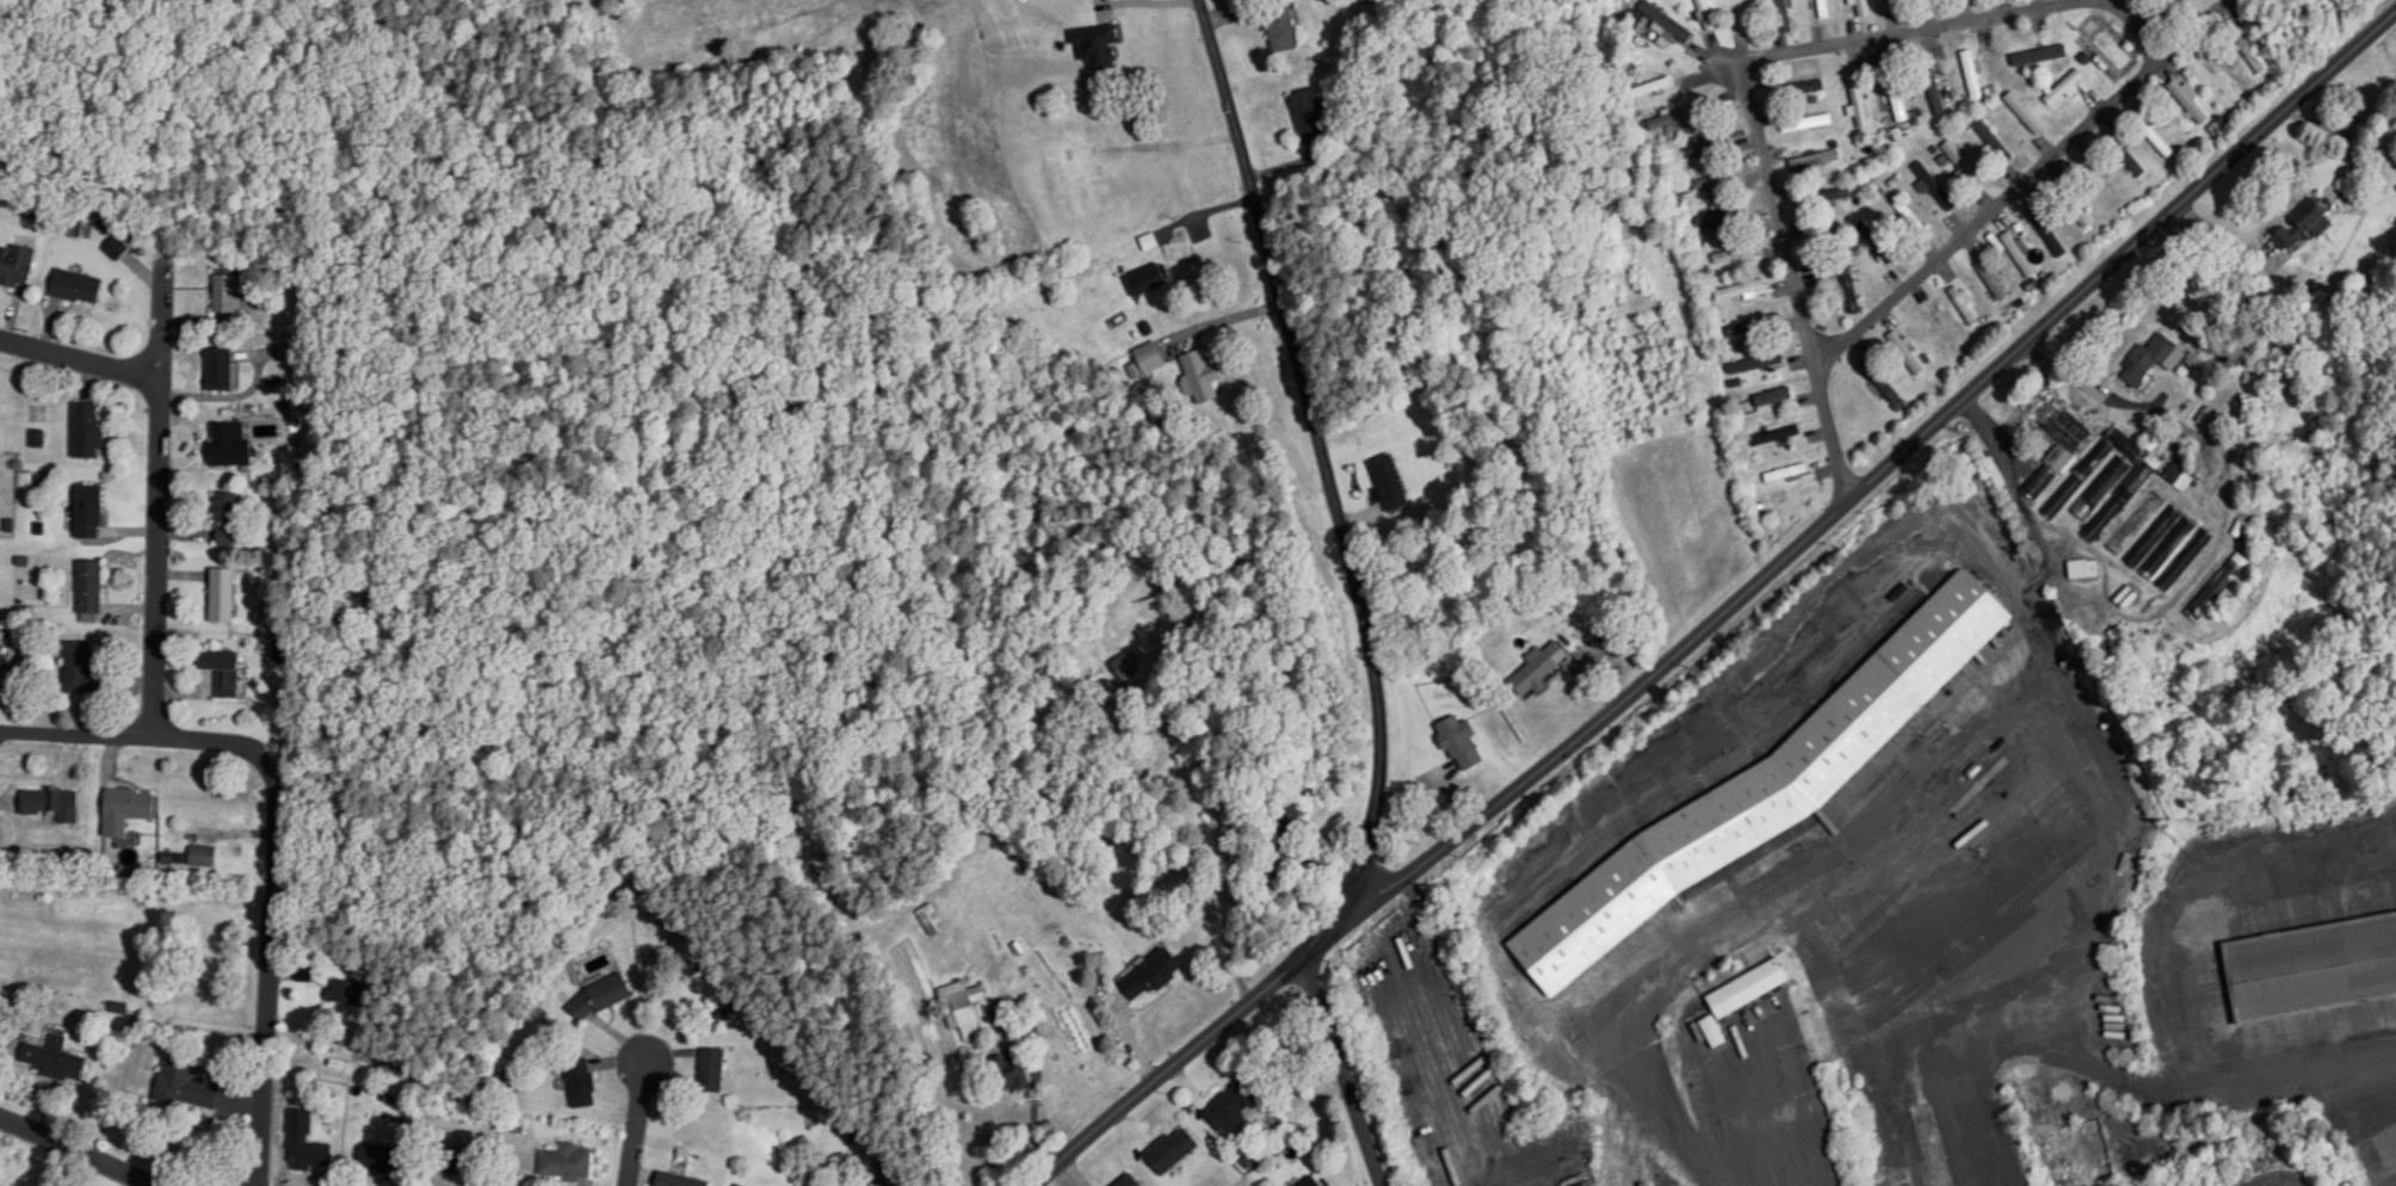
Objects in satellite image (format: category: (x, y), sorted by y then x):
building: (1935, 1)
building: (1823, 6)
building: (1863, 8)
building: (1706, 14)
building: (1786, 16)
building: (1669, 24)
building: (1280, 25)
road: (2135, 25)
road: (1895, 33)
building: (1097, 47)
building: (2040, 55)
building: (1972, 74)
building: (1933, 86)
building: (1648, 88)
building: (1896, 93)
building: (1859, 100)
building: (2190, 101)
building: (2025, 115)
building: (1310, 116)
building: (1676, 117)
building: (1808, 123)
building: (1706, 149)
building: (1816, 160)
building: (1964, 163)
building: (1717, 180)
building: (1937, 186)
building: (1833, 194)
road: (2007, 198)
building: (2075, 204)
building: (1910, 216)
building: (1722, 217)
building: (2312, 220)
road: (2225, 236)
building: (2283, 239)
building: (1877, 242)
building: (1735, 254)
building: (17, 266)
building: (1147, 280)
road: (1793, 280)
building: (1993, 280)
building: (1850, 285)
building: (78, 288)
building: (1741, 291)
building: (226, 295)
building: (1965, 305)
building: (1753, 327)
building: (1935, 331)
building: (1907, 354)
building: (1149, 359)
road: (80, 360)
building: (2153, 360)
building: (1756, 364)
building: (220, 370)
building: (1199, 377)
building: (1881, 382)
building: (1774, 399)
building: (87, 431)
building: (1776, 437)
building: (230, 445)
building: (2060, 452)
road: (1321, 455)
road: (1881, 471)
building: (1786, 474)
building: (2180, 478)
building: (1389, 483)
building: (2105, 484)
road: (158, 498)
building: (88, 512)
building: (227, 519)
building: (2137, 524)
building: (2162, 543)
building: (2185, 561)
building: (2085, 569)
building: (2218, 587)
building: (89, 588)
building: (223, 595)
building: (1126, 666)
building: (1538, 668)
building: (82, 671)
building: (223, 672)
road: (136, 739)
building: (1462, 745)
building: (1764, 790)
building: (53, 804)
building: (126, 810)
building: (1287, 820)
road: (1237, 848)
building: (203, 857)
road: (1764, 906)
building: (933, 920)
road: (1324, 939)
building: (2311, 962)
road: (268, 975)
building: (1151, 976)
building: (348, 993)
building: (1742, 997)
building: (600, 999)
building: (964, 1009)
building: (54, 1060)
building: (711, 1071)
road: (1163, 1071)
building: (1011, 1073)
road: (1344, 1073)
building: (581, 1085)
building: (187, 1086)
building: (1233, 1108)
road: (636, 1124)
building: (307, 1145)
building: (1172, 1150)
road: (79, 1151)
building: (382, 1159)
building: (461, 1160)
building: (566, 1163)
building: (2069, 1178)
building: (679, 1180)
building: (1129, 1181)
building: (885, 1182)
building: (1310, 1182)
building: (739, 1185)

